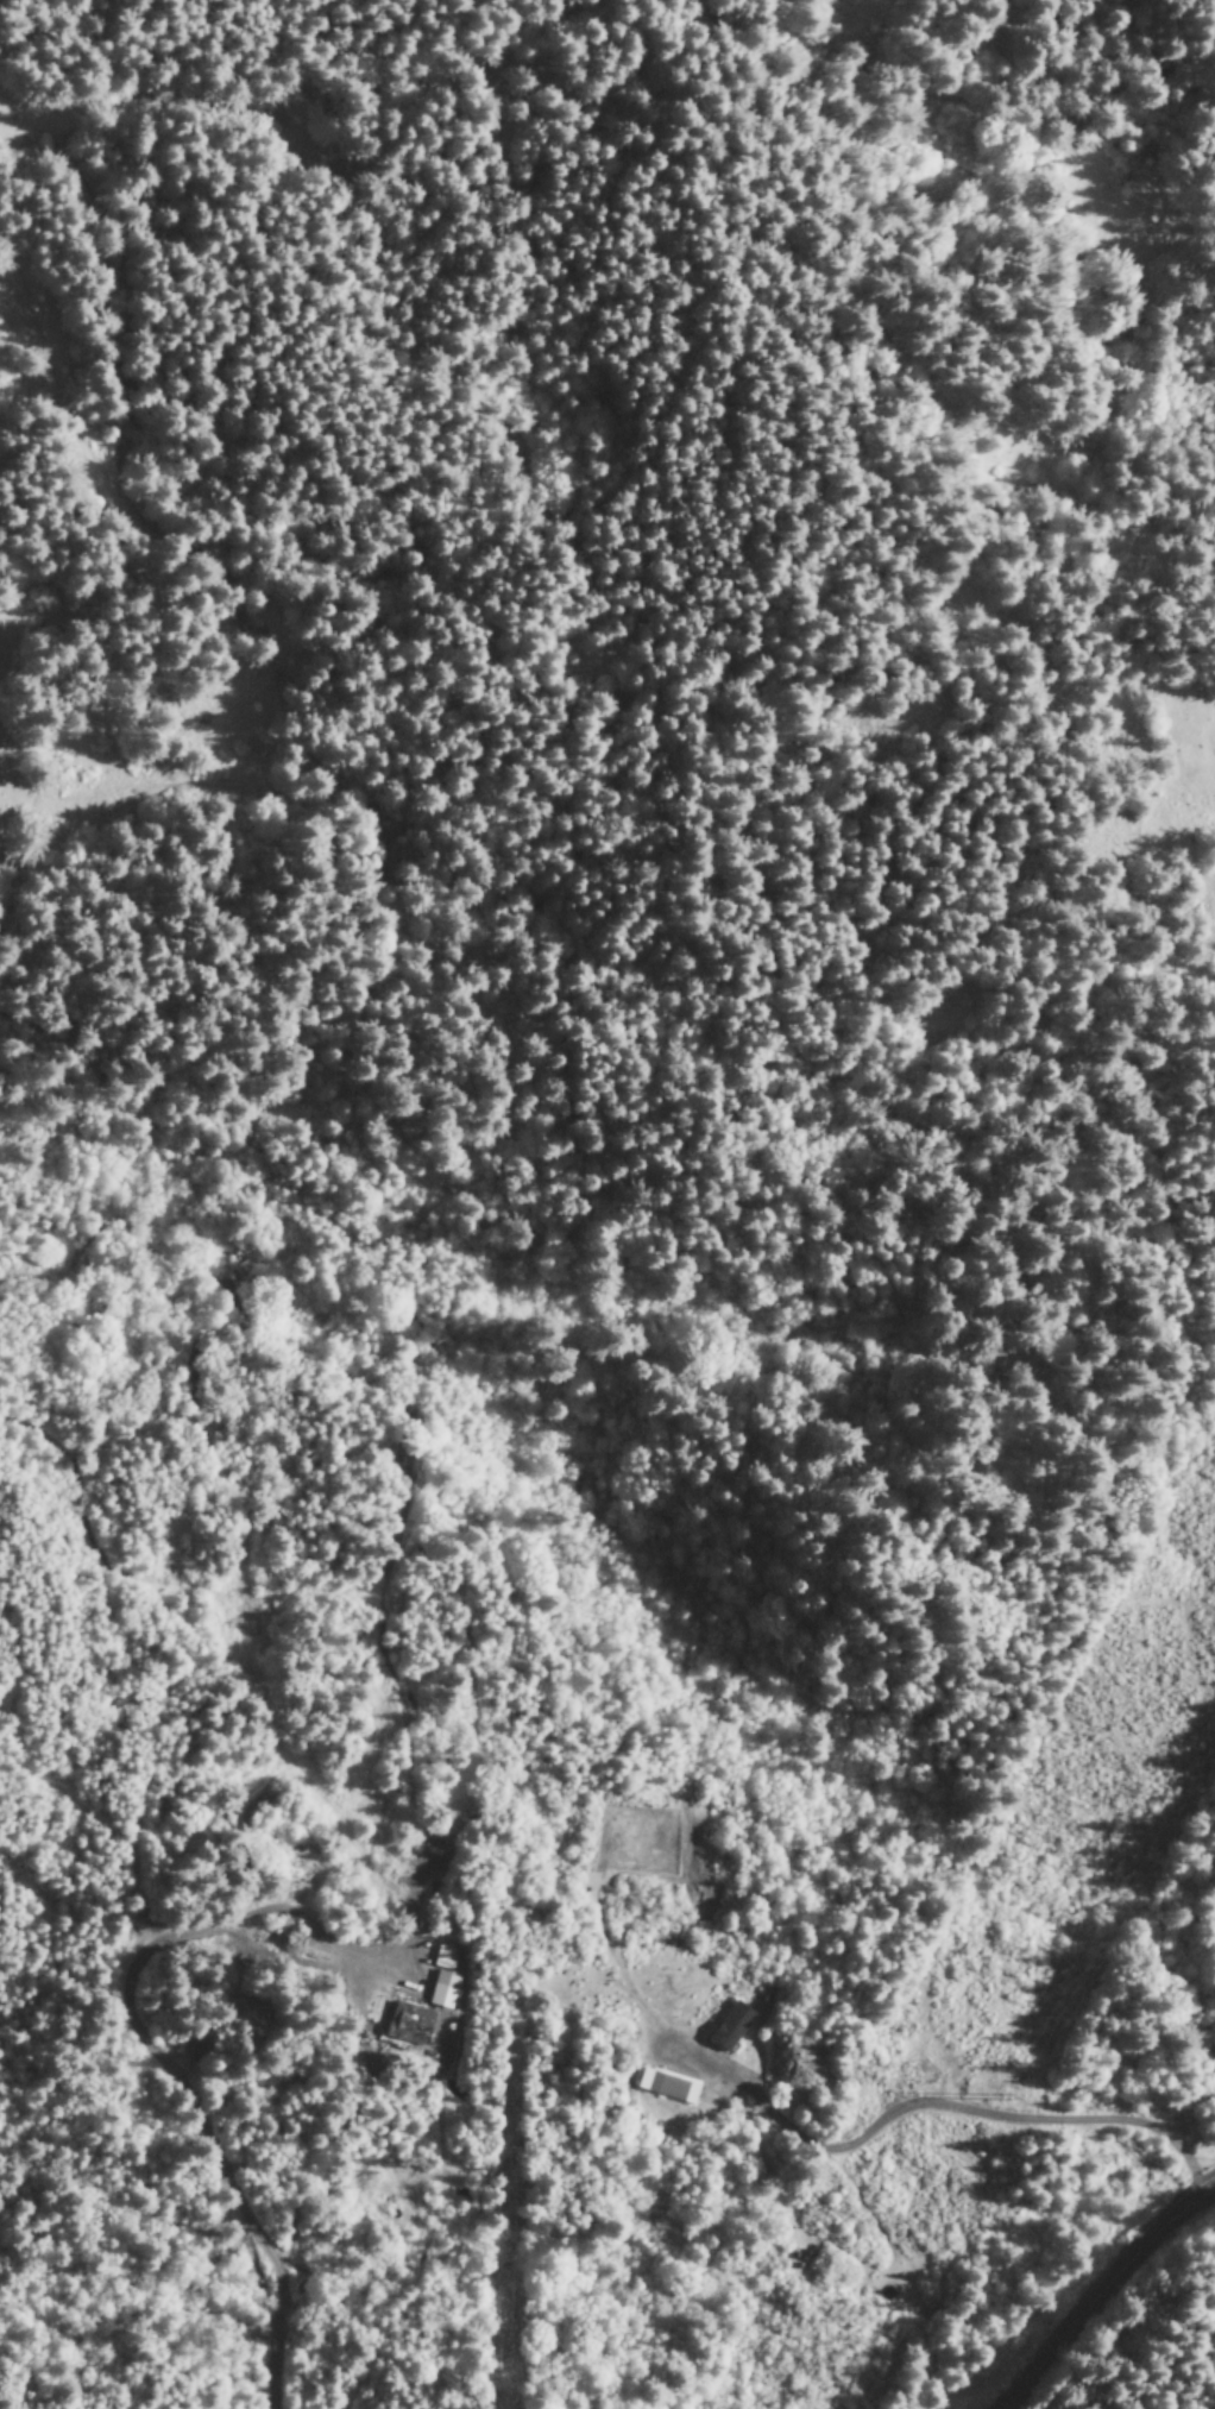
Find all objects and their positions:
building: (443, 1957)
building: (443, 1990)
building: (407, 2025)
building: (730, 2029)
power tower: (918, 2077)
building: (667, 2087)
road: (1100, 2291)

